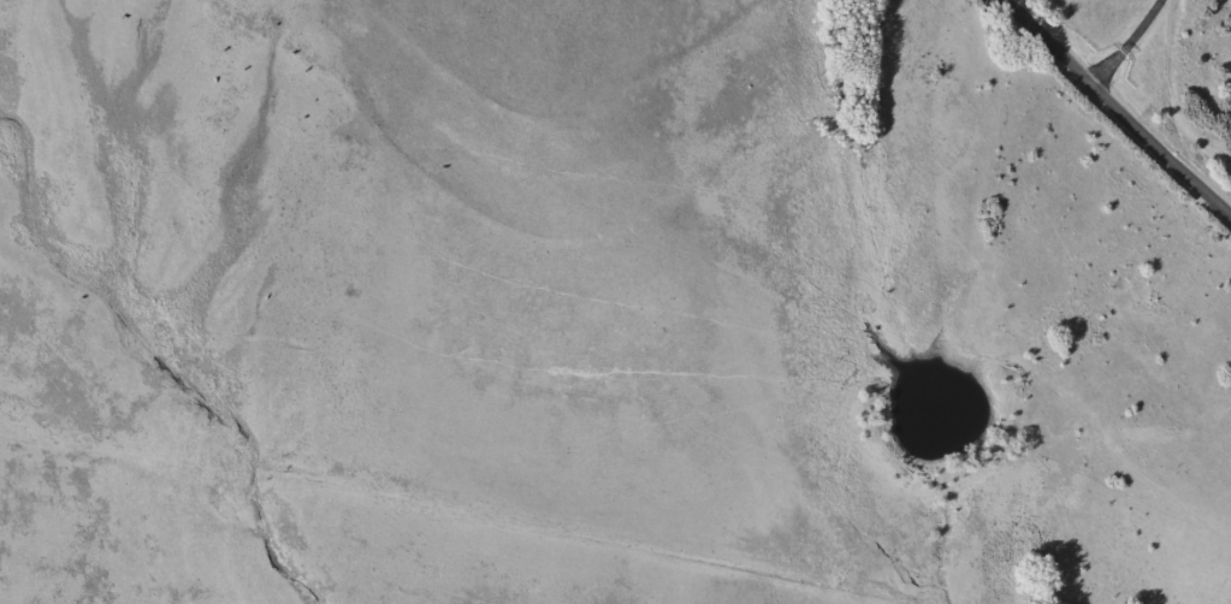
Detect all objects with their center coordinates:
road: (1132, 43)
road: (1120, 106)

